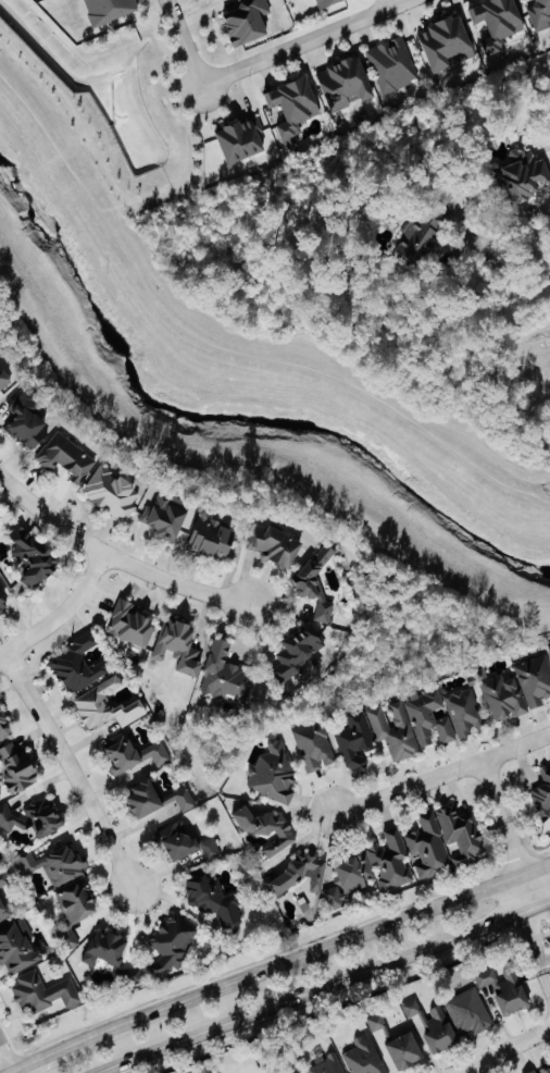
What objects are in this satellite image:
road: (390, 2)
building: (326, 3)
building: (109, 10)
building: (540, 14)
building: (246, 21)
building: (497, 22)
road: (183, 41)
road: (302, 41)
building: (443, 42)
building: (392, 64)
building: (343, 84)
building: (291, 108)
building: (240, 140)
building: (525, 174)
road: (528, 235)
building: (417, 240)
road: (530, 286)
road: (467, 312)
road: (225, 349)
road: (367, 371)
building: (3, 380)
building: (26, 420)
building: (65, 456)
road: (249, 471)
building: (111, 492)
building: (165, 515)
building: (211, 535)
building: (273, 544)
building: (32, 557)
road: (115, 559)
building: (315, 582)
building: (2, 593)
road: (59, 610)
building: (129, 624)
building: (177, 645)
building: (549, 647)
building: (299, 649)
road: (0, 652)
building: (77, 665)
building: (225, 674)
building: (535, 679)
building: (502, 698)
building: (107, 707)
building: (463, 711)
building: (412, 724)
building: (4, 726)
building: (355, 740)
building: (314, 744)
building: (120, 752)
building: (157, 752)
building: (16, 768)
road: (70, 768)
building: (273, 773)
road: (442, 774)
road: (493, 790)
building: (542, 793)
building: (157, 801)
building: (32, 817)
building: (265, 828)
building: (460, 831)
building: (177, 840)
building: (210, 847)
building: (428, 847)
building: (52, 863)
road: (521, 863)
building: (371, 868)
building: (301, 873)
road: (538, 873)
building: (3, 877)
building: (213, 898)
building: (75, 902)
road: (542, 902)
road: (542, 909)
building: (2, 912)
road: (534, 932)
building: (172, 942)
building: (17, 946)
building: (104, 948)
road: (543, 955)
road: (296, 960)
road: (543, 974)
building: (133, 975)
road: (317, 988)
building: (504, 989)
building: (42, 991)
building: (468, 1012)
building: (376, 1021)
building: (432, 1025)
building: (384, 1034)
road: (503, 1049)
building: (403, 1050)
building: (364, 1057)
road: (7, 1058)
road: (41, 1060)
building: (327, 1065)
building: (299, 1071)
building: (540, 1071)
road: (13, 1072)

